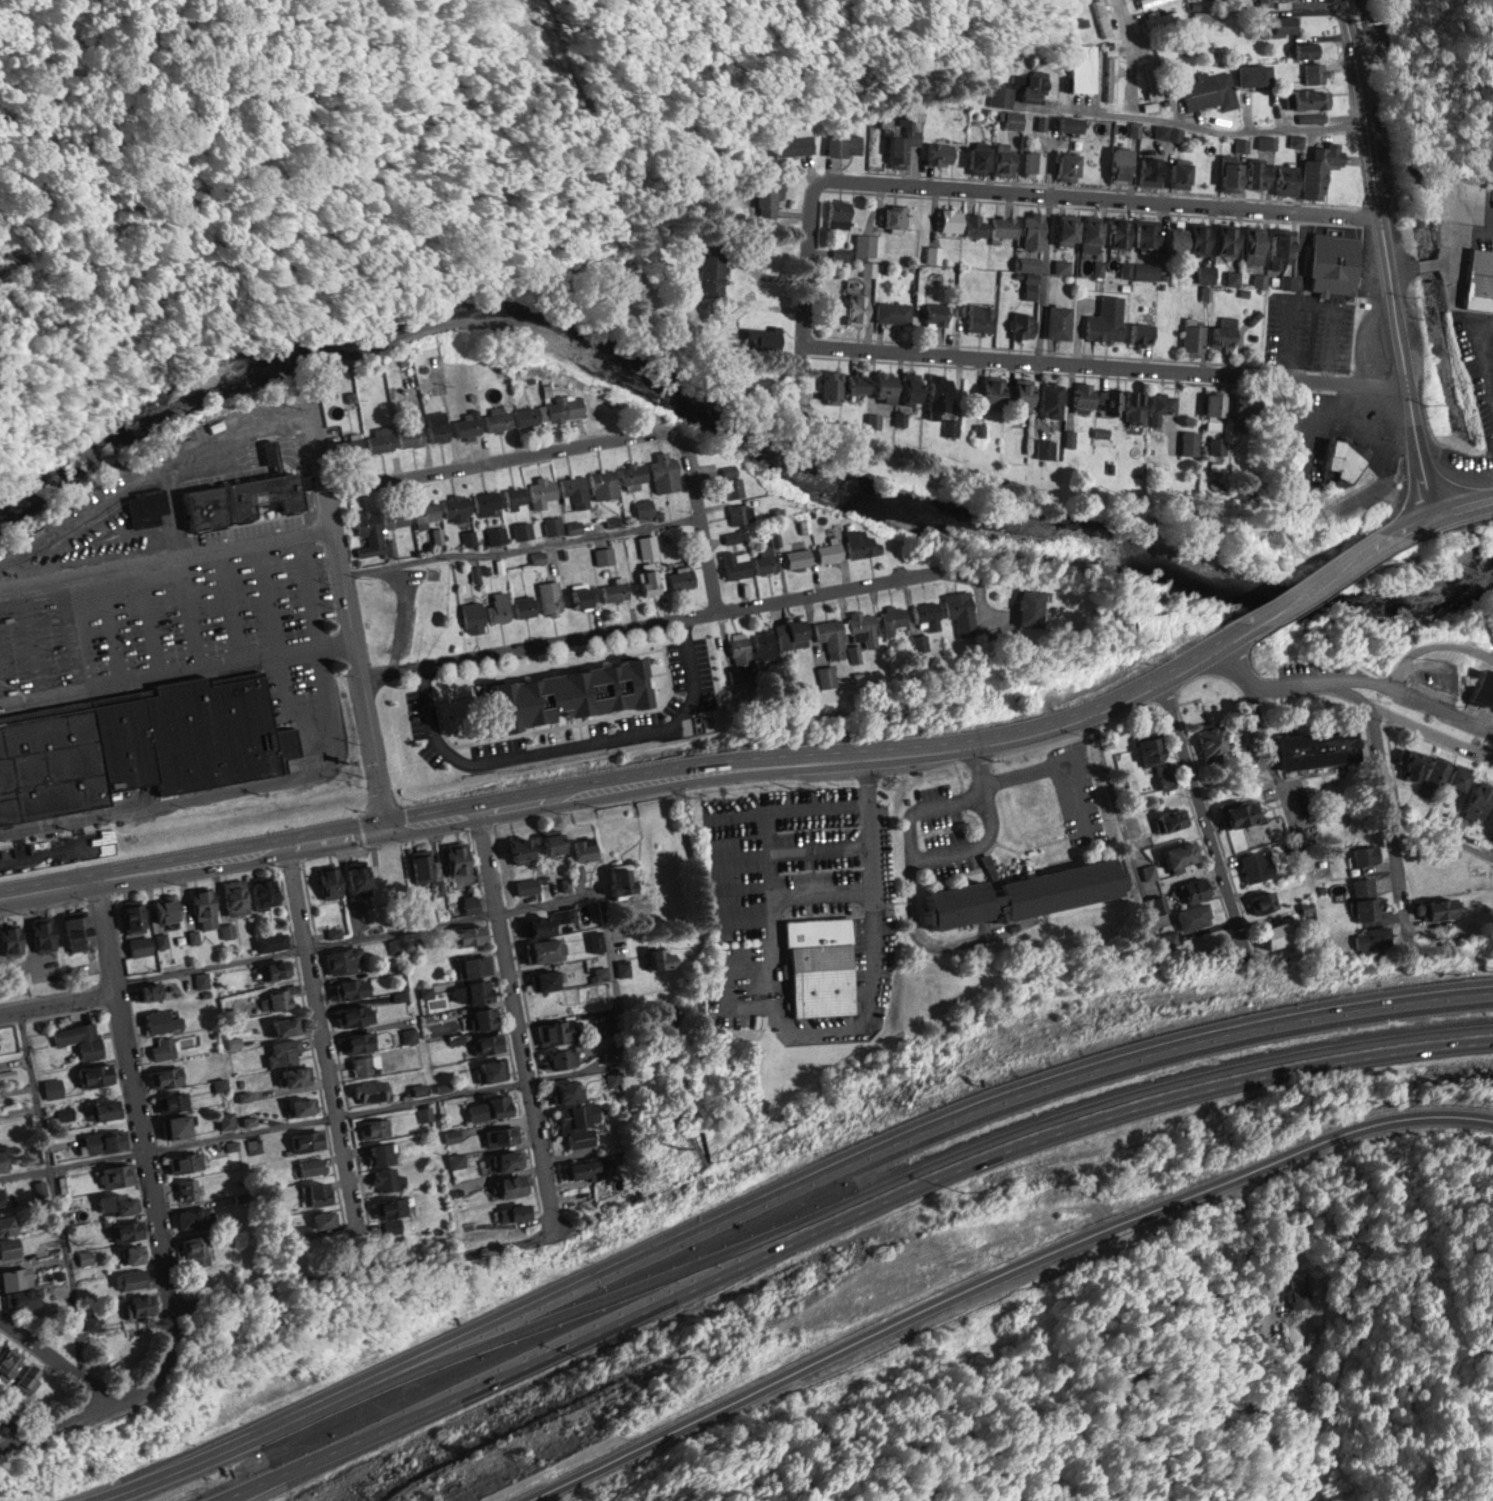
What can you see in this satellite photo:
building: (1263, 3)
building: (1102, 18)
building: (1162, 18)
building: (1278, 25)
road: (1130, 41)
building: (1300, 49)
building: (1080, 67)
building: (1314, 72)
building: (1110, 74)
building: (1252, 74)
building: (1153, 81)
building: (1000, 90)
building: (1208, 91)
building: (1305, 98)
building: (1013, 119)
building: (1067, 124)
road: (1191, 126)
building: (1296, 140)
building: (901, 142)
building: (1241, 144)
building: (789, 145)
building: (843, 145)
building: (938, 151)
building: (1001, 158)
building: (974, 159)
building: (1031, 163)
building: (1116, 164)
building: (1063, 165)
building: (1317, 168)
building: (1146, 171)
building: (1176, 174)
building: (1254, 174)
building: (1227, 176)
building: (1284, 178)
building: (766, 196)
road: (1095, 196)
building: (837, 212)
building: (894, 216)
building: (947, 219)
building: (987, 224)
building: (1029, 230)
building: (1061, 231)
building: (1086, 231)
building: (1115, 232)
building: (1144, 232)
building: (1196, 238)
building: (1224, 240)
building: (1172, 241)
building: (865, 245)
building: (1251, 245)
building: (1276, 250)
road: (1386, 258)
road: (1452, 259)
building: (1026, 263)
building: (1330, 263)
road: (813, 265)
building: (710, 268)
building: (870, 268)
building: (1198, 273)
road: (1045, 275)
building: (1479, 279)
building: (854, 309)
building: (891, 311)
building: (933, 314)
building: (979, 318)
building: (1103, 319)
building: (1057, 321)
building: (1022, 324)
building: (1137, 333)
building: (1222, 333)
building: (1191, 338)
road: (1484, 356)
road: (1111, 362)
building: (853, 382)
building: (829, 386)
building: (881, 386)
building: (907, 387)
building: (988, 389)
building: (936, 391)
building: (1016, 393)
building: (1080, 395)
building: (1049, 399)
building: (1108, 401)
building: (1158, 403)
building: (1210, 403)
building: (1133, 406)
building: (548, 411)
building: (497, 420)
building: (467, 423)
building: (437, 425)
building: (409, 434)
road: (298, 438)
building: (379, 439)
building: (1189, 441)
road: (266, 444)
building: (1217, 444)
building: (348, 445)
road: (245, 448)
road: (233, 452)
road: (294, 457)
building: (1343, 458)
road: (269, 461)
building: (303, 461)
road: (503, 463)
road: (152, 469)
building: (664, 472)
building: (632, 473)
building: (306, 480)
road: (306, 480)
building: (603, 483)
building: (729, 486)
building: (286, 490)
building: (574, 491)
building: (541, 492)
building: (515, 496)
building: (248, 497)
building: (485, 501)
building: (146, 504)
road: (175, 507)
building: (208, 507)
building: (455, 507)
road: (1458, 507)
road: (311, 508)
building: (643, 508)
building: (424, 511)
building: (741, 513)
building: (394, 516)
road: (704, 519)
building: (553, 524)
road: (338, 526)
building: (523, 529)
road: (1397, 531)
building: (368, 532)
building: (732, 537)
building: (861, 543)
building: (647, 545)
road: (526, 549)
building: (828, 551)
building: (603, 554)
road: (169, 556)
building: (538, 556)
building: (796, 556)
building: (765, 561)
building: (735, 564)
building: (680, 579)
building: (644, 580)
road: (1309, 584)
building: (613, 591)
building: (581, 595)
building: (551, 602)
road: (229, 603)
building: (497, 606)
building: (524, 606)
building: (1028, 607)
road: (192, 610)
building: (961, 611)
road: (405, 617)
building: (472, 617)
road: (152, 618)
building: (893, 618)
street lamp: (175, 621)
road: (316, 621)
building: (926, 621)
road: (658, 625)
road: (110, 626)
road: (277, 627)
building: (863, 627)
road: (73, 632)
building: (783, 637)
building: (831, 637)
street lamp: (56, 638)
road: (36, 639)
road: (1434, 641)
building: (739, 648)
road: (178, 671)
building: (827, 676)
road: (1270, 678)
building: (176, 683)
building: (1482, 689)
road: (1418, 691)
road: (1, 692)
building: (572, 694)
road: (1416, 713)
building: (189, 736)
building: (1215, 742)
road: (570, 747)
building: (1313, 748)
road: (376, 750)
building: (1147, 750)
building: (76, 756)
building: (46, 762)
road: (1059, 762)
road: (1276, 764)
building: (1409, 765)
building: (25, 766)
road: (682, 771)
building: (1432, 773)
building: (1164, 775)
building: (8, 779)
building: (1456, 780)
road: (197, 795)
building: (1476, 799)
road: (1200, 805)
road: (1387, 808)
building: (1237, 812)
building: (1034, 817)
building: (1169, 818)
traffic signals: (389, 824)
road: (910, 827)
road: (1125, 833)
building: (548, 843)
building: (515, 848)
building: (581, 849)
building: (1177, 853)
building: (1364, 854)
building: (454, 860)
building: (421, 865)
building: (1257, 866)
building: (392, 872)
building: (358, 876)
building: (329, 880)
building: (617, 880)
building: (1431, 882)
road: (875, 884)
building: (527, 885)
road: (50, 887)
building: (1192, 889)
building: (260, 892)
building: (1021, 893)
building: (233, 897)
building: (1363, 898)
road: (553, 901)
building: (1264, 902)
building: (470, 903)
building: (1158, 903)
building: (205, 904)
building: (166, 906)
building: (1437, 908)
building: (564, 915)
building: (131, 916)
building: (1194, 916)
building: (534, 926)
building: (75, 930)
building: (44, 932)
building: (467, 934)
building: (1272, 935)
building: (1371, 936)
building: (9, 939)
building: (162, 940)
building: (272, 941)
building: (595, 941)
building: (138, 945)
building: (541, 950)
building: (343, 959)
building: (655, 959)
building: (472, 963)
road: (215, 964)
building: (817, 966)
building: (275, 968)
road: (617, 976)
building: (205, 978)
building: (542, 980)
building: (349, 988)
building: (147, 991)
building: (474, 991)
road: (60, 996)
building: (279, 997)
building: (353, 1015)
building: (480, 1017)
road: (521, 1018)
building: (161, 1019)
building: (280, 1025)
building: (558, 1031)
road: (327, 1034)
building: (79, 1038)
building: (357, 1041)
building: (486, 1042)
building: (163, 1048)
building: (281, 1050)
building: (561, 1057)
building: (364, 1064)
building: (491, 1068)
building: (93, 1074)
building: (293, 1075)
building: (165, 1076)
road: (137, 1087)
building: (561, 1091)
building: (369, 1092)
road: (1164, 1092)
building: (171, 1100)
building: (300, 1105)
building: (487, 1107)
building: (226, 1118)
road: (314, 1118)
building: (577, 1124)
building: (173, 1125)
building: (374, 1127)
building: (501, 1133)
building: (104, 1140)
building: (305, 1140)
building: (377, 1154)
building: (3, 1159)
building: (503, 1160)
building: (184, 1161)
building: (310, 1166)
building: (586, 1168)
road: (824, 1169)
building: (116, 1174)
building: (387, 1179)
building: (508, 1186)
building: (187, 1188)
road: (57, 1193)
building: (314, 1193)
building: (2, 1195)
building: (116, 1203)
building: (389, 1207)
building: (511, 1212)
building: (193, 1217)
building: (321, 1219)
building: (5, 1224)
building: (125, 1230)
building: (8, 1247)
building: (193, 1251)
building: (131, 1254)
road: (363, 1268)
road: (1003, 1275)
building: (15, 1277)
building: (131, 1279)
building: (1297, 1290)
building: (24, 1298)
building: (138, 1305)
building: (92, 1322)
road: (52, 1357)
road: (541, 1358)
building: (8, 1361)
building: (26, 1378)
road: (115, 1396)
road: (13, 1424)
road: (133, 1479)

